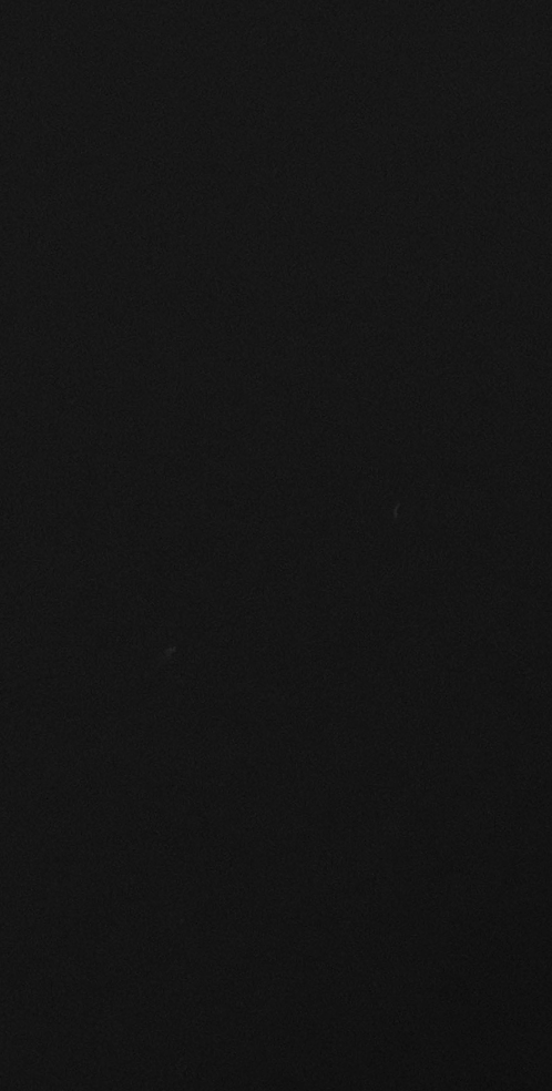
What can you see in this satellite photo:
river: (408, 956)

